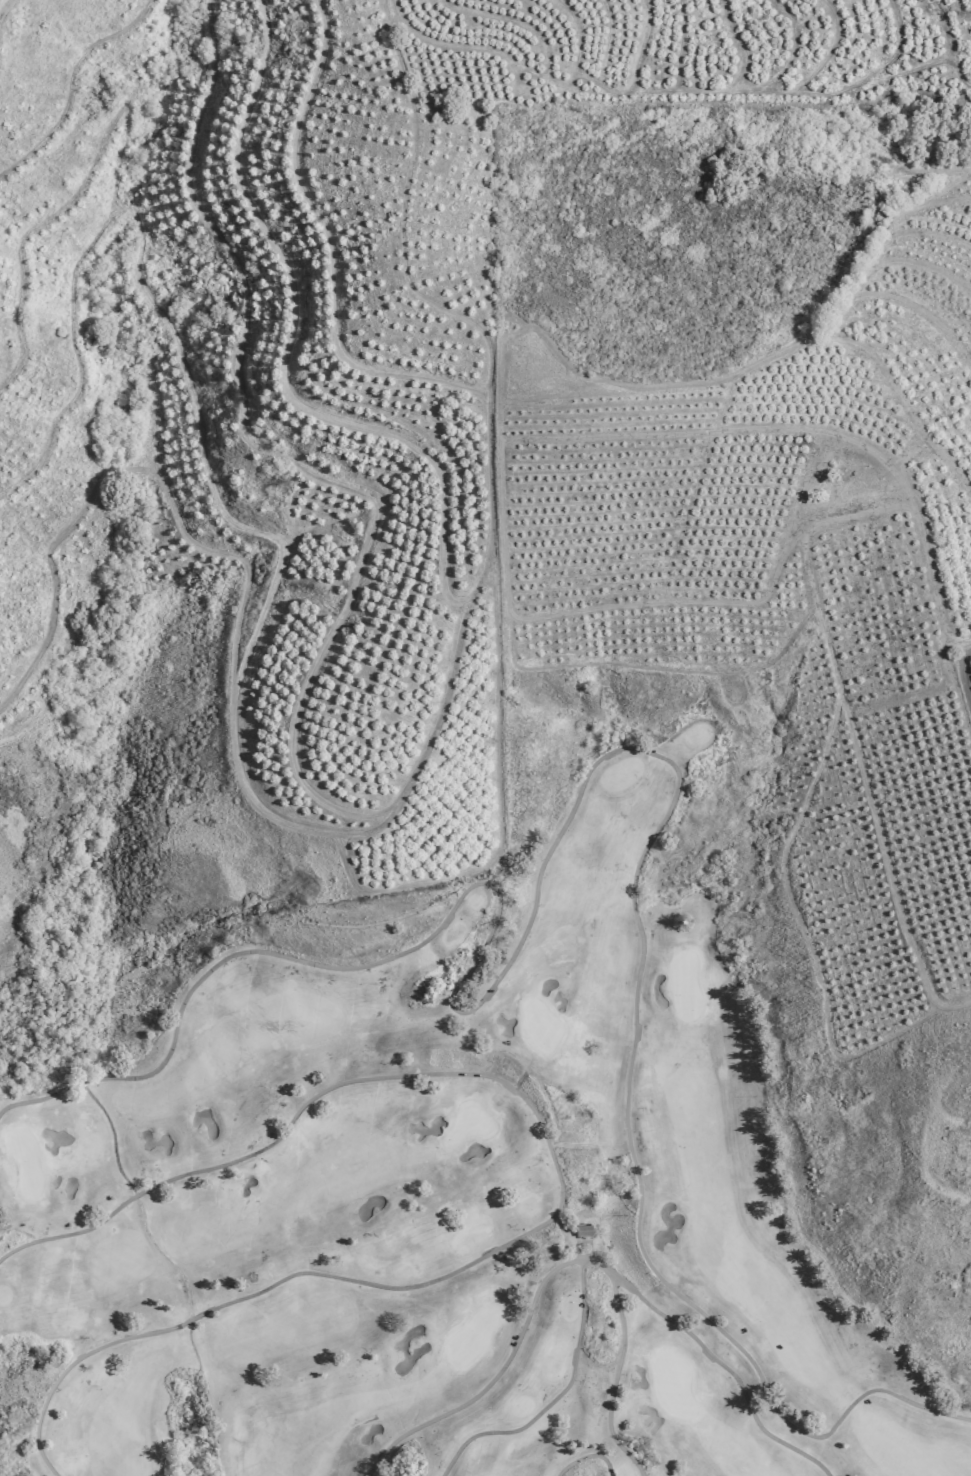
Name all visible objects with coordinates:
building: (859, 148)
road: (590, 777)
park: (458, 1179)
road: (564, 1186)
building: (585, 1231)
road: (620, 1367)
road: (728, 1373)
road: (496, 1385)
road: (565, 1395)
road: (588, 1456)

